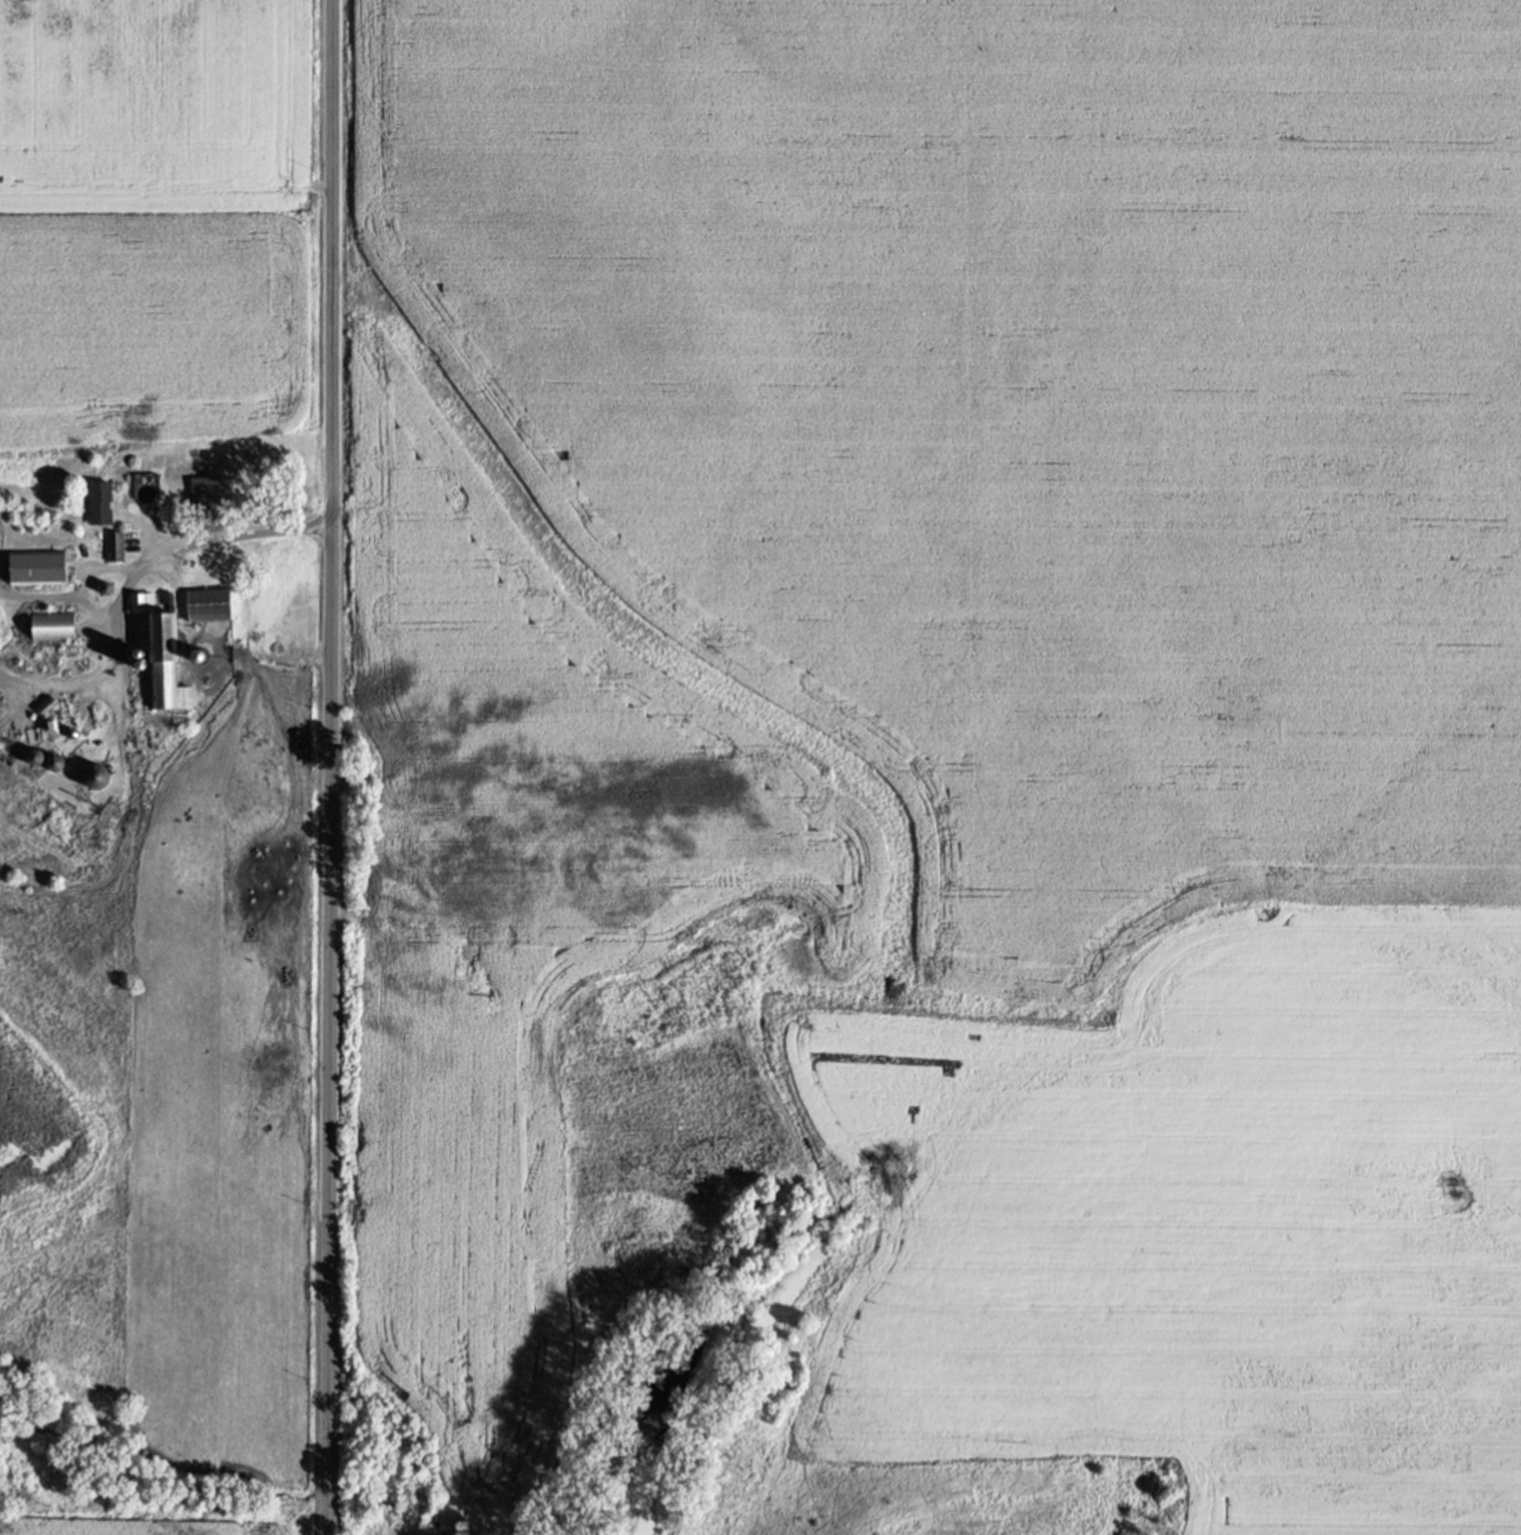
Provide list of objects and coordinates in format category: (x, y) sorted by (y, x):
building: (198, 502)
building: (98, 512)
building: (114, 555)
building: (32, 575)
building: (206, 613)
building: (49, 635)
building: (0, 651)
building: (164, 661)
road: (330, 767)
building: (93, 785)

